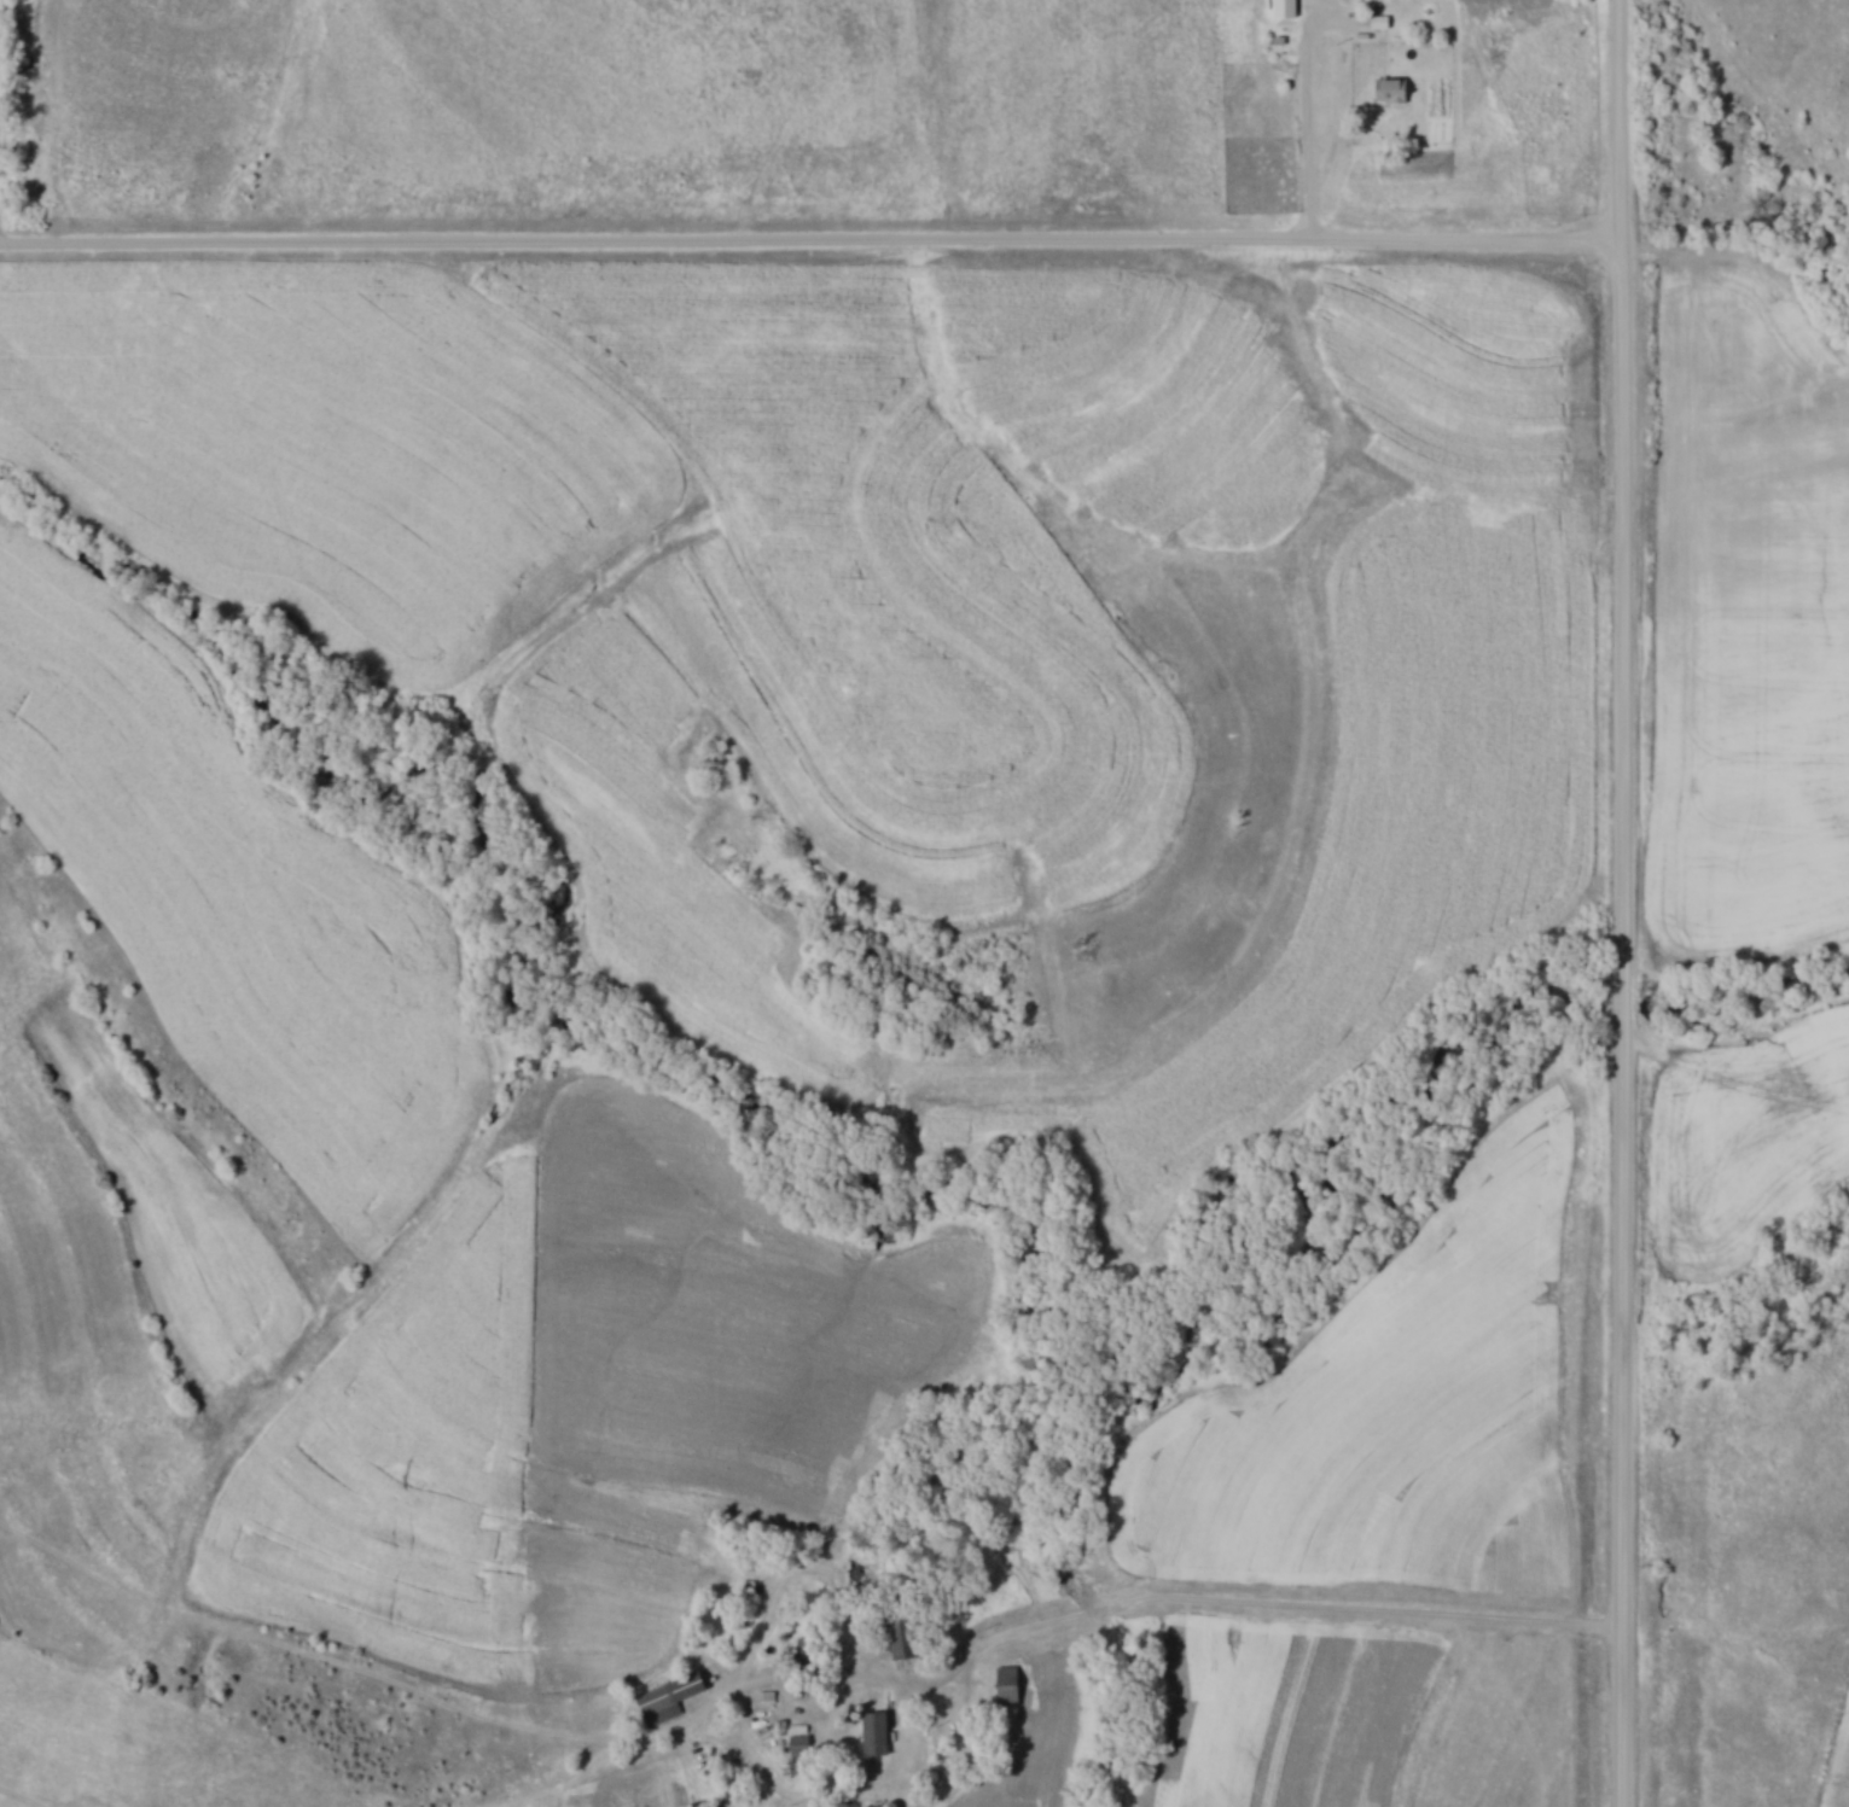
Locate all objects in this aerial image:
building: (1287, 8)
road: (1314, 21)
building: (1382, 22)
building: (1285, 45)
building: (1392, 89)
road: (1314, 218)
road: (812, 241)
road: (1623, 903)
road: (1293, 1607)
building: (906, 1636)
road: (935, 1683)
building: (1010, 1686)
building: (669, 1698)
building: (877, 1733)
building: (848, 1805)

